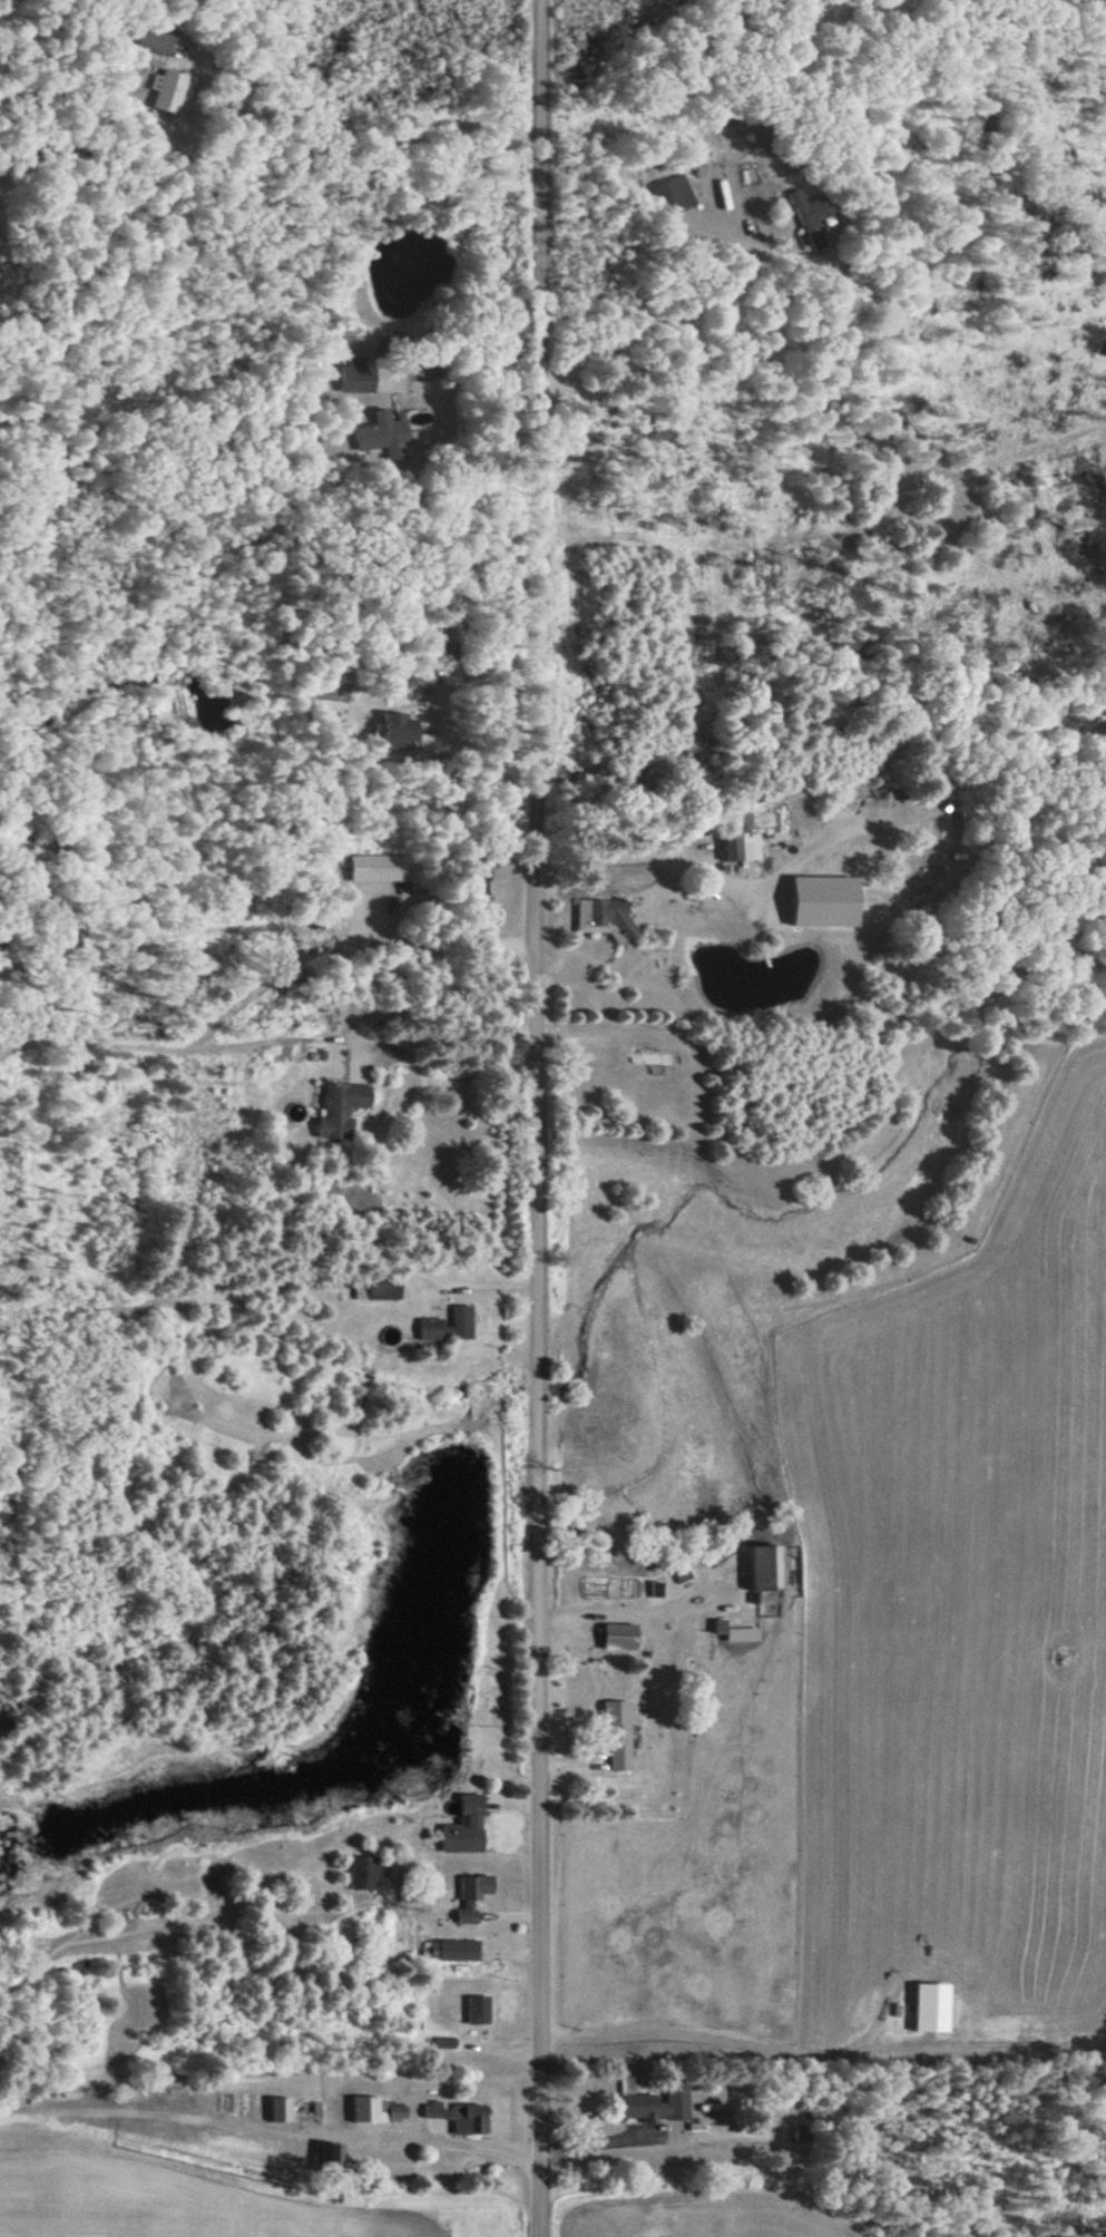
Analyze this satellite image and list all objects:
building: (162, 37)
building: (173, 89)
road: (372, 120)
building: (676, 196)
building: (818, 217)
road: (632, 333)
building: (362, 372)
building: (390, 433)
building: (404, 727)
building: (740, 843)
building: (384, 867)
building: (480, 867)
building: (609, 917)
building: (717, 1049)
building: (656, 1058)
building: (346, 1107)
road: (534, 1118)
building: (389, 1288)
building: (452, 1325)
building: (772, 1567)
building: (625, 1635)
building: (621, 1736)
building: (469, 1827)
building: (368, 1873)
building: (480, 1886)
building: (453, 1948)
building: (481, 2008)
building: (656, 2102)
building: (284, 2108)
building: (382, 2109)
building: (460, 2117)
building: (806, 2133)
building: (337, 2156)

